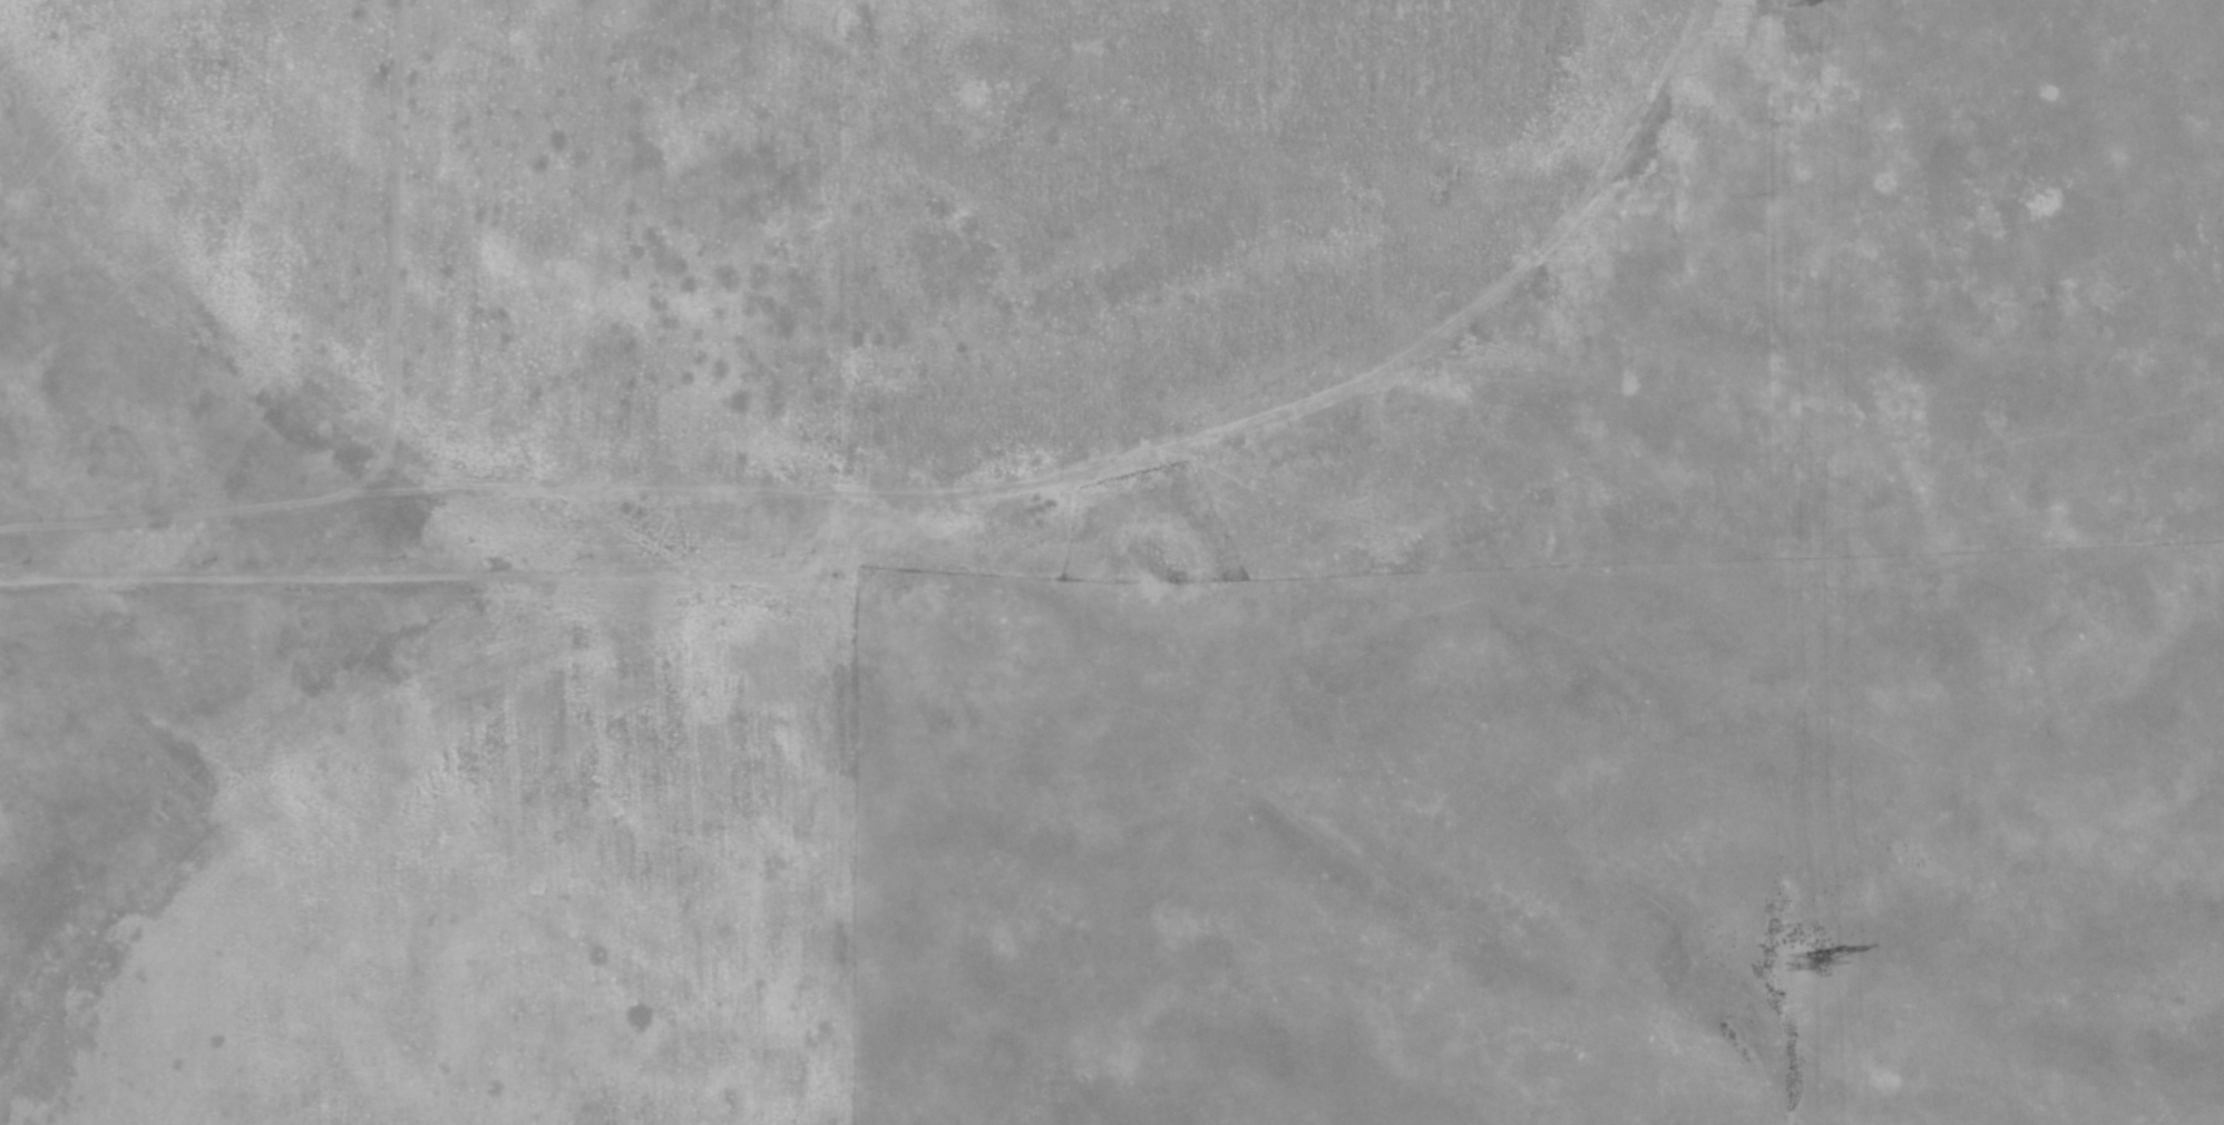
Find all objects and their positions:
power tower: (1795, 962)

